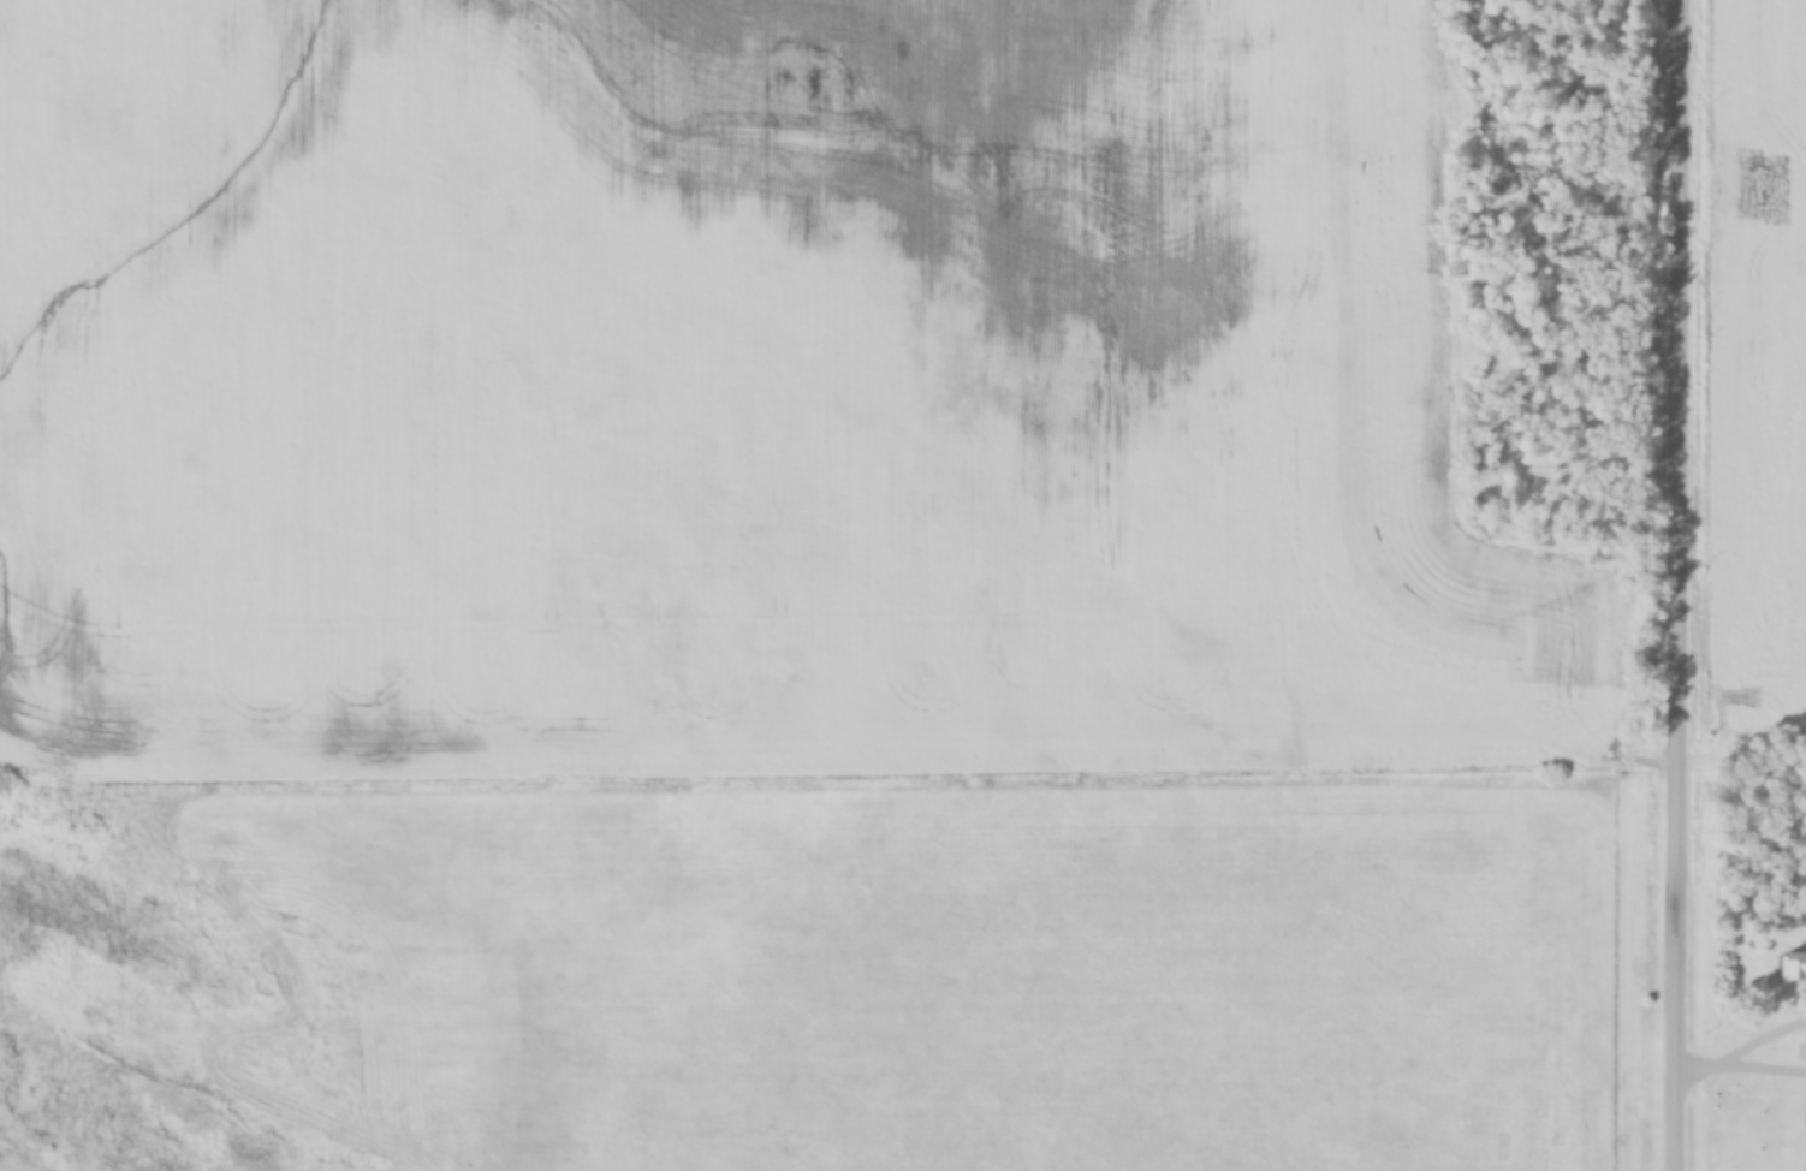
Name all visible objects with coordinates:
road: (1688, 585)
building: (1796, 964)

